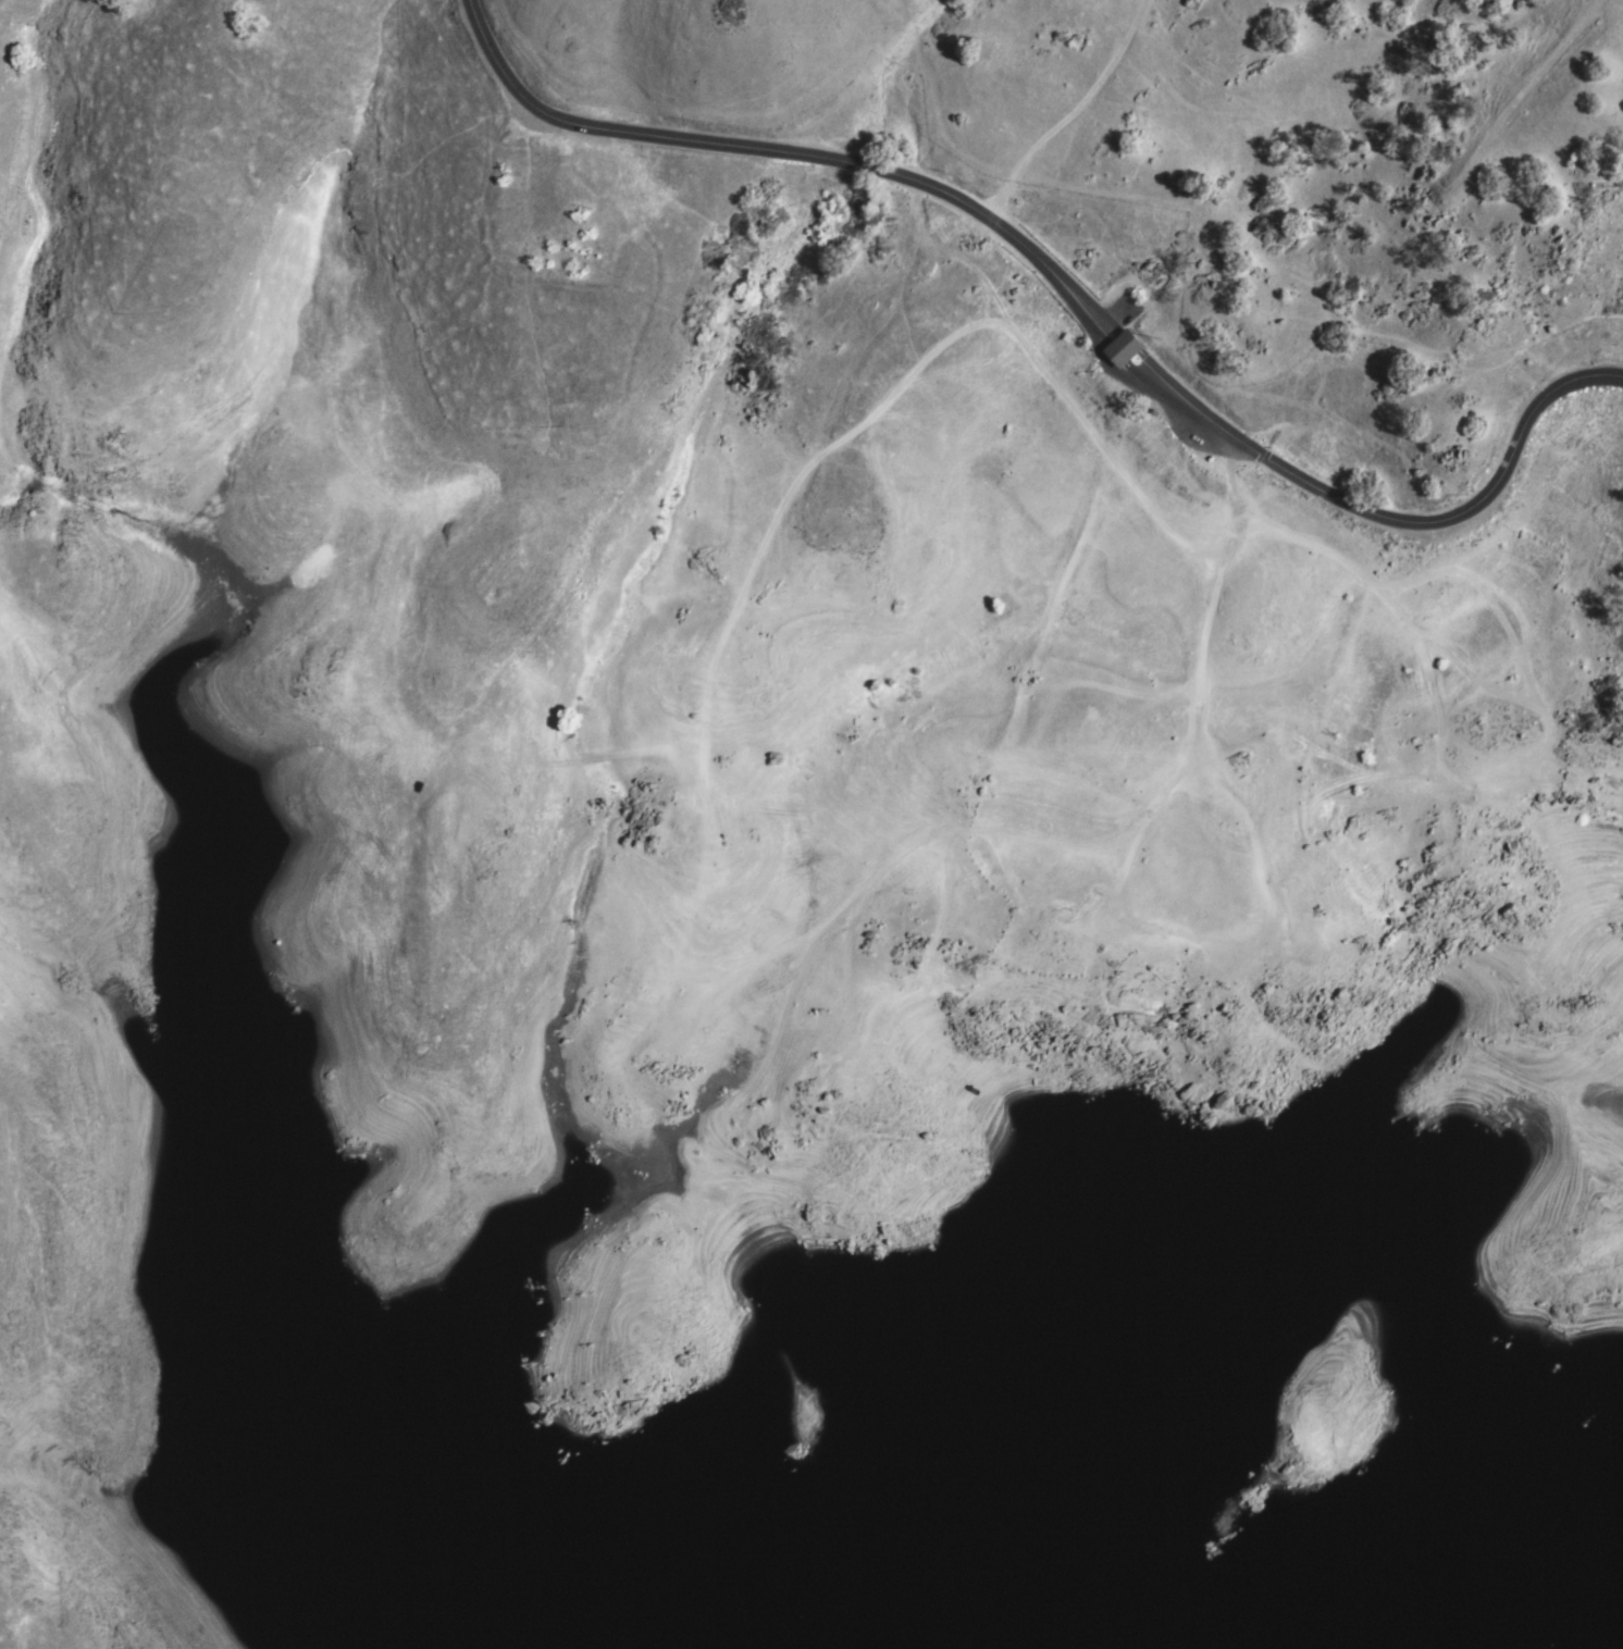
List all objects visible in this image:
road: (1066, 112)
road: (741, 147)
road: (520, 261)
road: (1114, 327)
road: (1103, 338)
road: (863, 347)
building: (1123, 348)
road: (875, 408)
road: (1414, 520)
road: (1440, 742)
road: (1145, 809)
park: (788, 910)
road: (943, 913)
road: (1268, 916)
road: (1069, 929)

